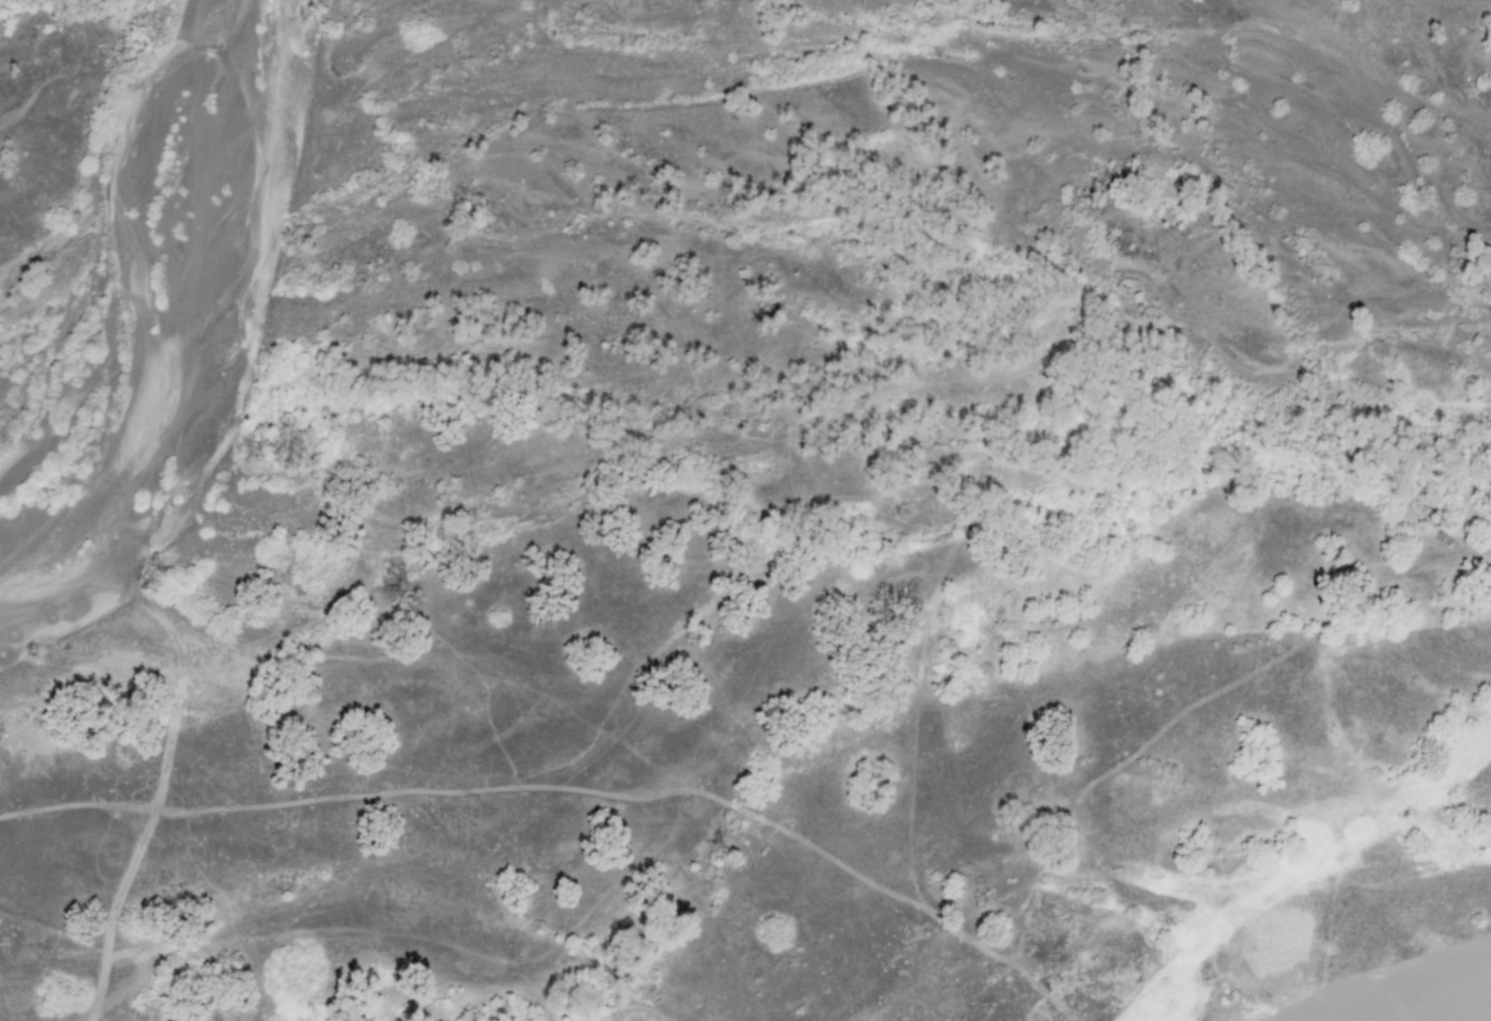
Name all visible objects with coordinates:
river: (144, 308)

